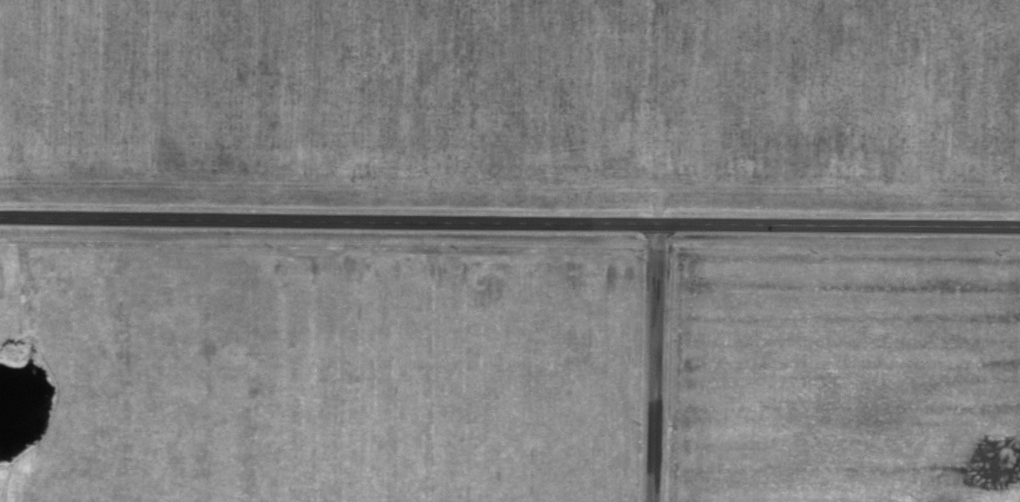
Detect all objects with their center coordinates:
road: (510, 222)
road: (652, 363)

